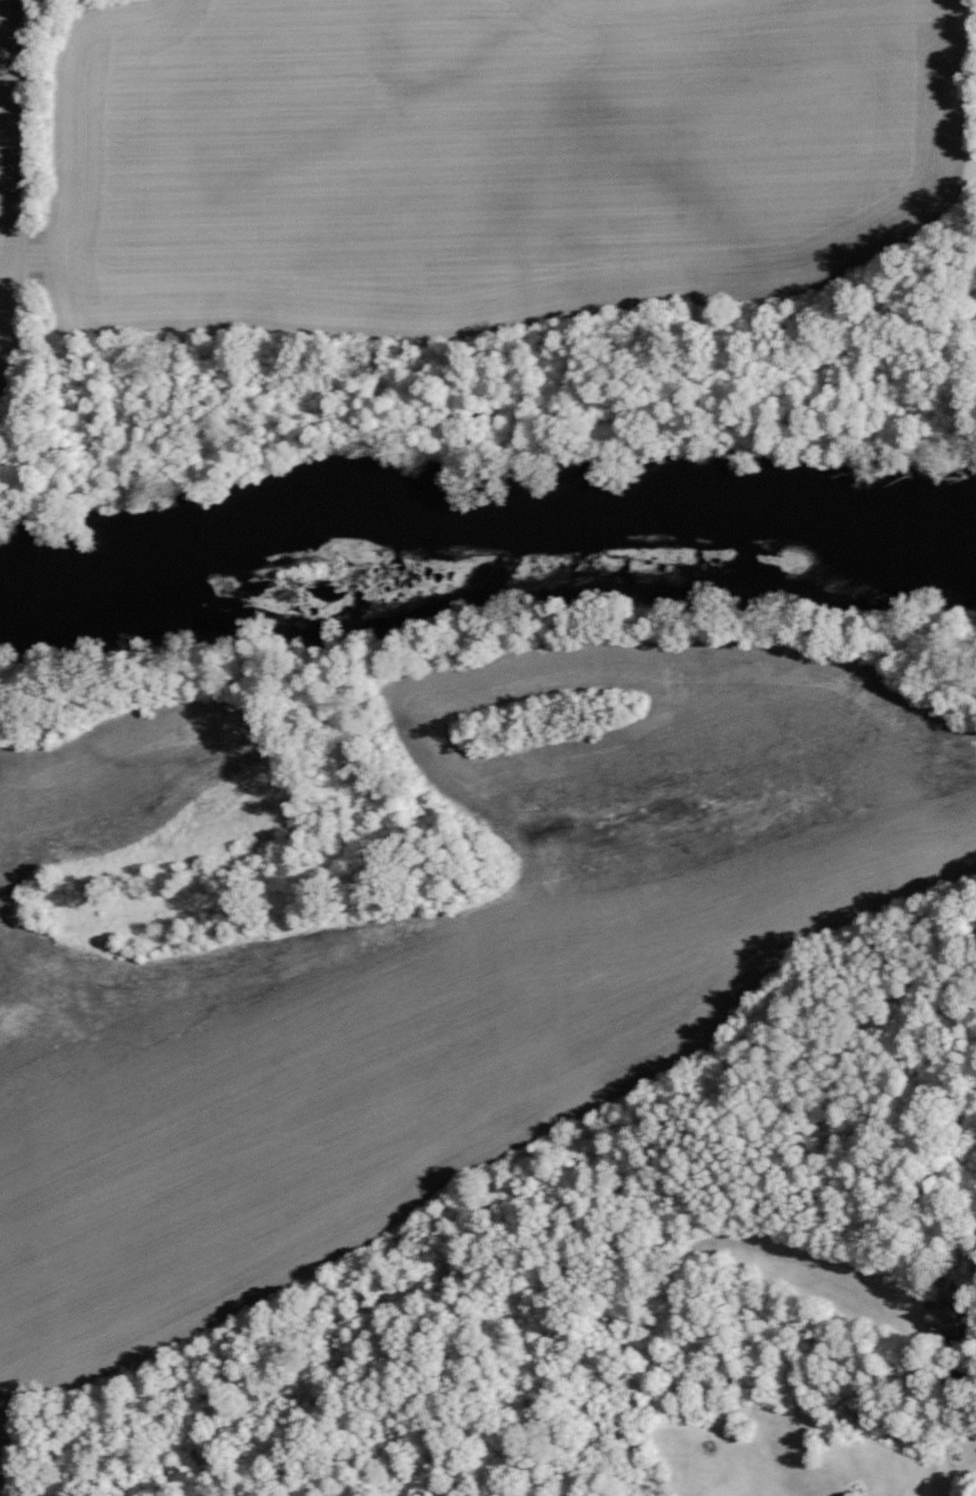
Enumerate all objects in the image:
river: (484, 563)
building: (955, 1324)

